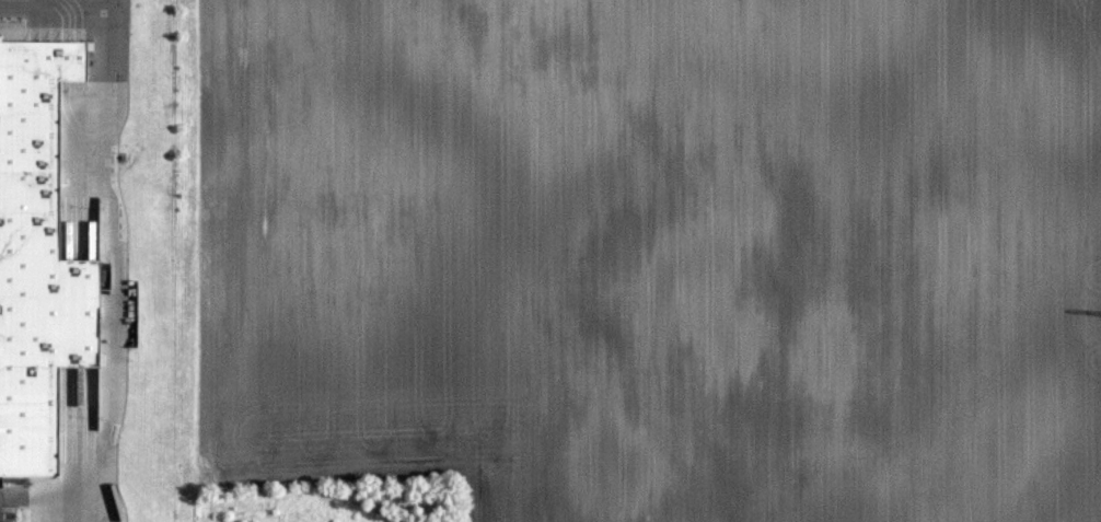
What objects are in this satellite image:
road: (73, 0)
road: (84, 1)
road: (108, 38)
building: (38, 257)
road: (116, 329)
road: (13, 495)

